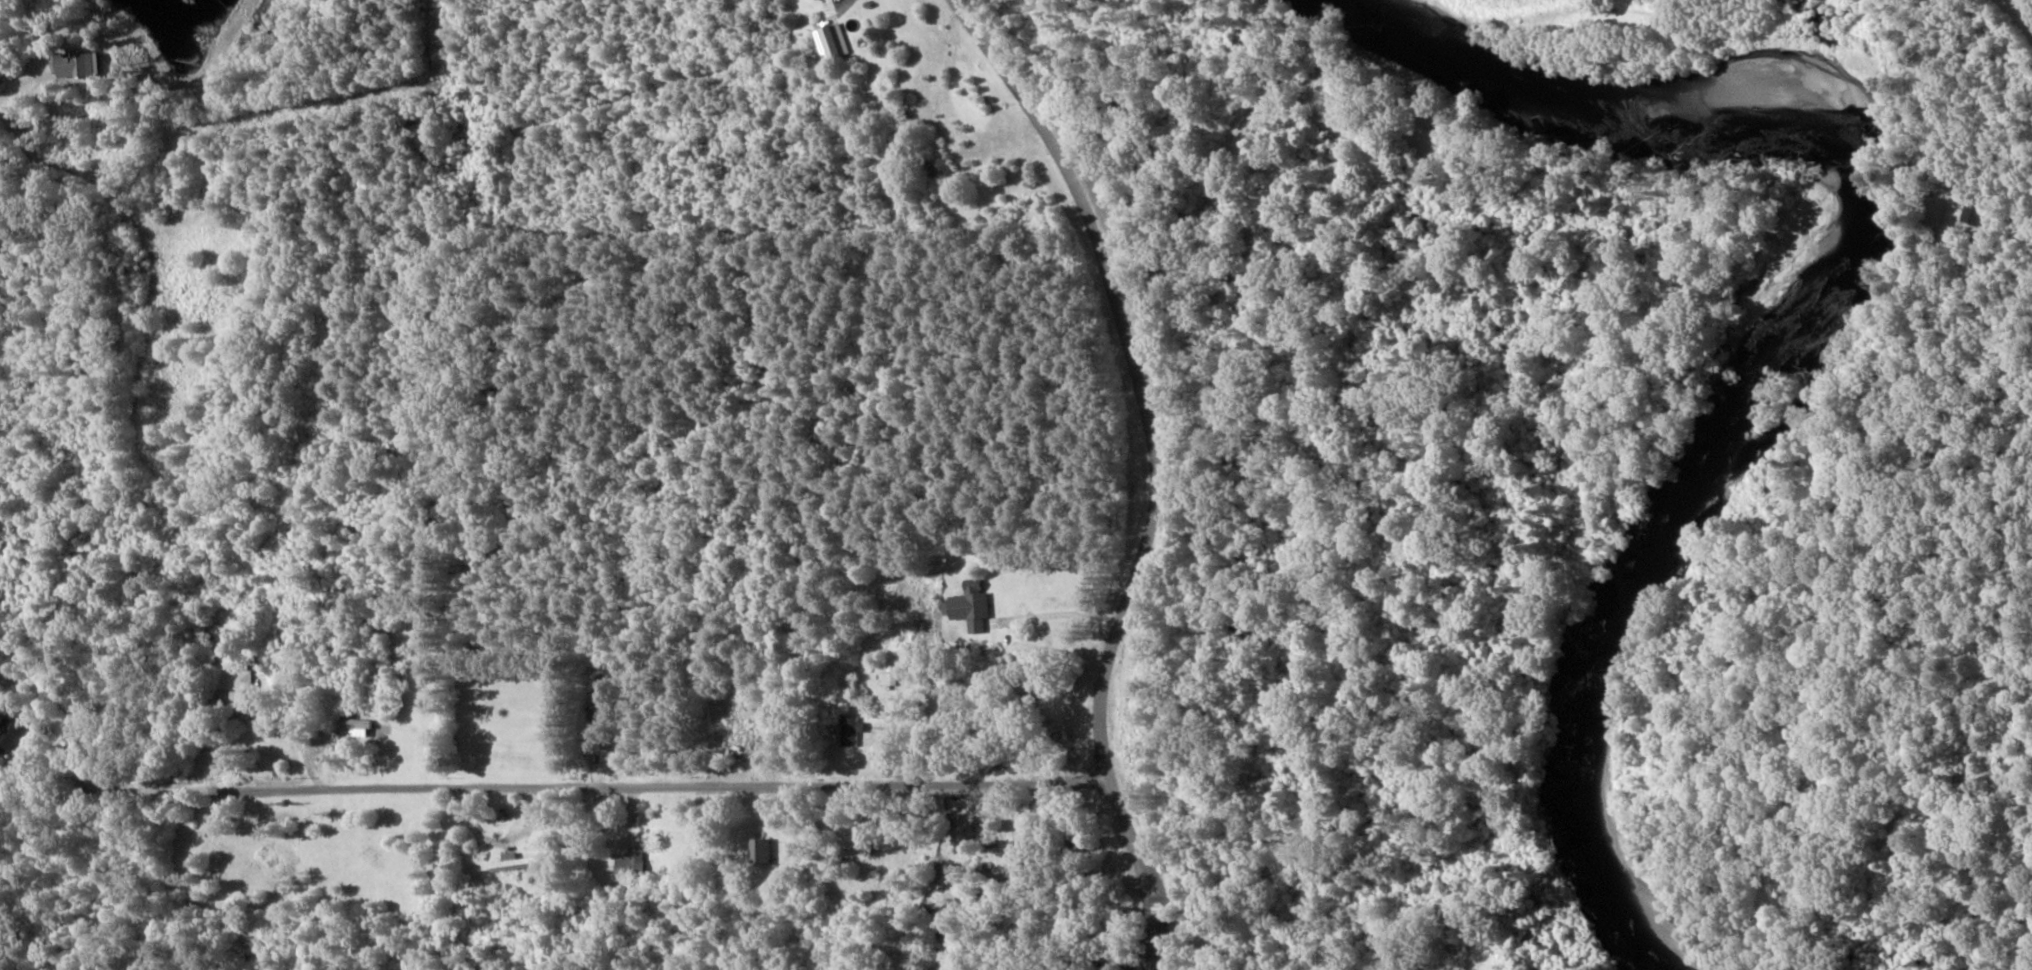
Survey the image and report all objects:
building: (829, 41)
building: (85, 65)
road: (215, 225)
road: (1112, 462)
building: (967, 603)
building: (230, 676)
building: (355, 722)
building: (849, 731)
building: (9, 734)
building: (756, 850)
building: (513, 862)
building: (630, 864)
road: (656, 867)

